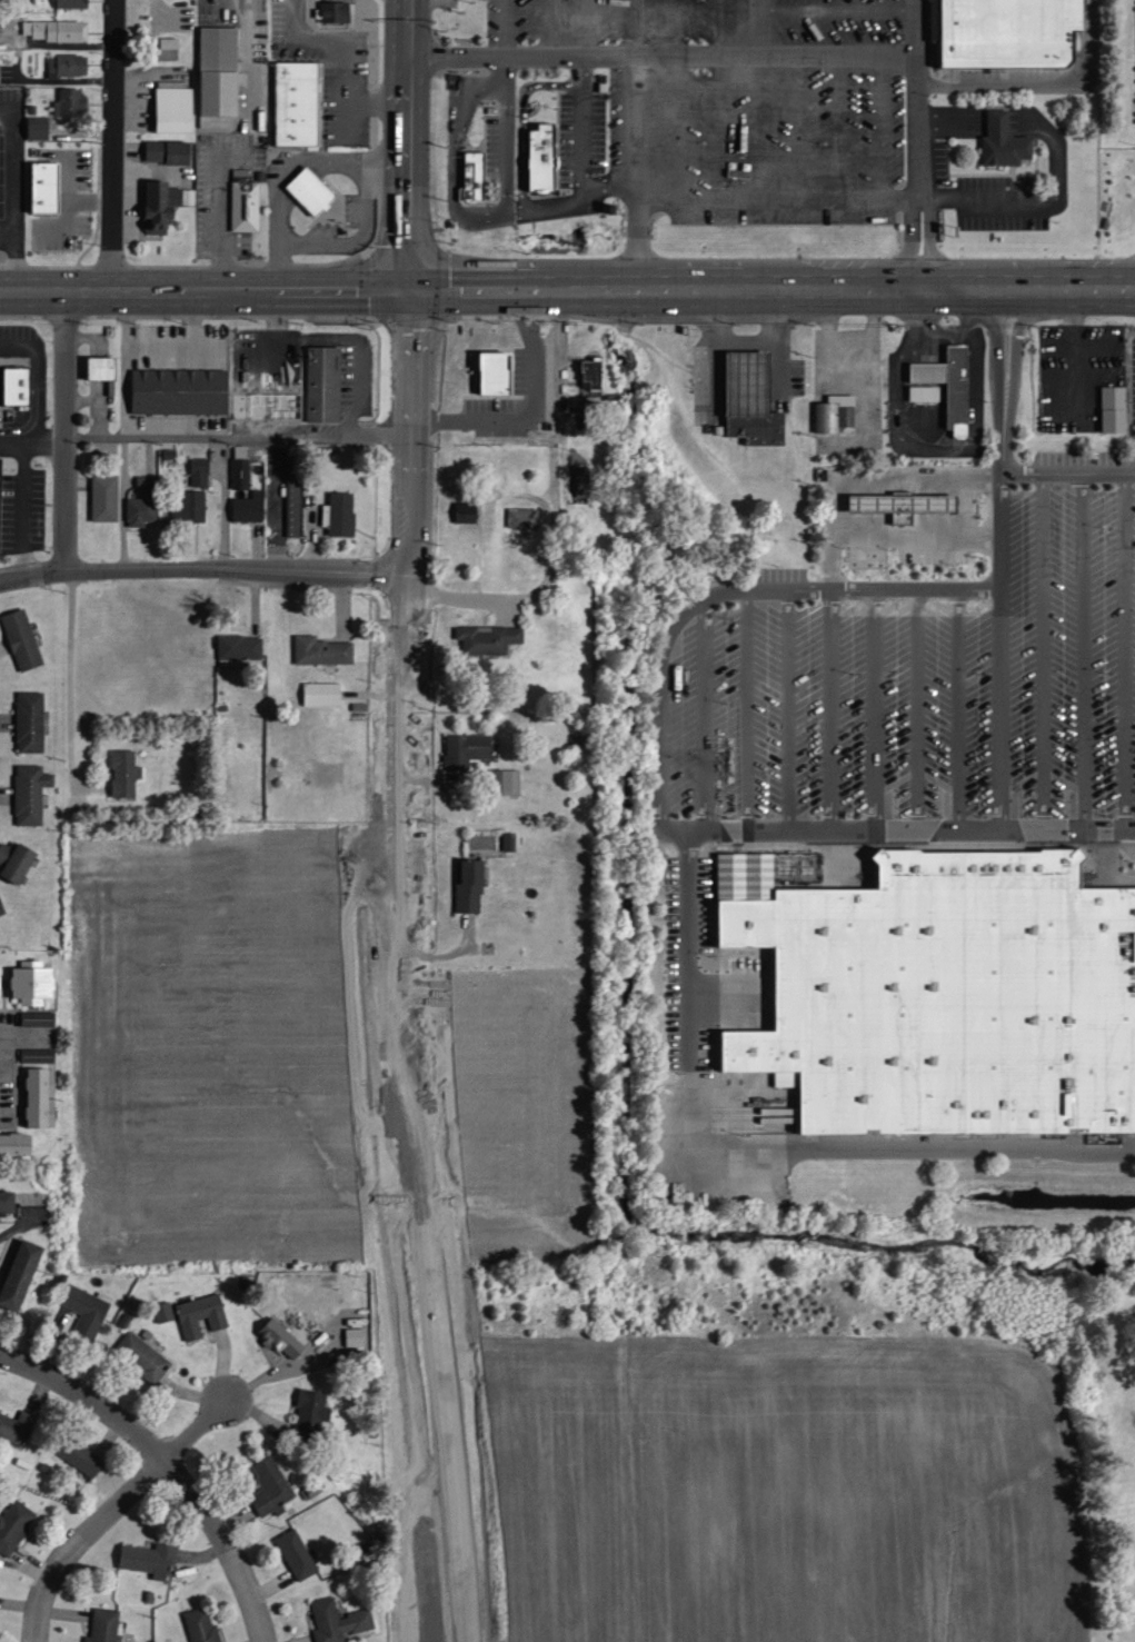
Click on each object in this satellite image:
building: (19, 1)
building: (73, 2)
building: (337, 9)
building: (61, 29)
building: (1009, 32)
building: (69, 63)
building: (220, 69)
road: (1037, 80)
building: (72, 100)
building: (299, 100)
building: (176, 108)
building: (39, 127)
building: (1005, 140)
road: (408, 142)
road: (916, 143)
road: (113, 145)
building: (169, 150)
building: (542, 156)
building: (703, 168)
building: (476, 173)
building: (46, 186)
building: (312, 189)
building: (165, 202)
building: (248, 205)
traffic signals: (412, 286)
road: (693, 286)
road: (126, 288)
road: (994, 362)
building: (102, 366)
road: (1008, 366)
building: (496, 370)
building: (593, 372)
building: (325, 382)
building: (18, 384)
building: (739, 385)
building: (956, 386)
building: (181, 389)
building: (926, 391)
building: (268, 404)
building: (1115, 407)
building: (837, 411)
building: (743, 426)
road: (64, 431)
road: (205, 439)
building: (242, 466)
building: (201, 469)
building: (0, 478)
building: (146, 480)
building: (585, 480)
building: (107, 496)
building: (899, 502)
road: (222, 505)
building: (251, 506)
building: (190, 507)
building: (296, 507)
building: (143, 509)
building: (468, 511)
building: (341, 512)
road: (203, 570)
road: (828, 577)
building: (490, 637)
building: (23, 638)
road: (870, 646)
road: (912, 646)
road: (954, 646)
road: (998, 647)
road: (1038, 647)
road: (1081, 647)
road: (1123, 647)
building: (242, 648)
building: (323, 649)
parking lot: (918, 667)
road: (67, 681)
building: (323, 691)
road: (743, 704)
road: (783, 704)
road: (828, 704)
road: (703, 707)
building: (31, 720)
building: (468, 748)
building: (127, 772)
building: (508, 780)
building: (31, 792)
road: (913, 824)
building: (511, 840)
building: (16, 859)
building: (470, 885)
building: (2, 905)
road: (394, 968)
building: (33, 981)
building: (940, 984)
building: (40, 1017)
road: (26, 1037)
building: (39, 1054)
building: (41, 1096)
road: (757, 1135)
building: (16, 1143)
building: (7, 1201)
building: (20, 1275)
building: (87, 1310)
building: (166, 1311)
building: (202, 1314)
building: (282, 1337)
building: (145, 1356)
road: (89, 1400)
building: (313, 1412)
building: (17, 1425)
road: (197, 1431)
building: (81, 1454)
building: (271, 1485)
building: (16, 1524)
road: (83, 1541)
road: (222, 1546)
building: (298, 1552)
building: (150, 1556)
building: (339, 1620)
building: (106, 1624)
building: (202, 1624)

